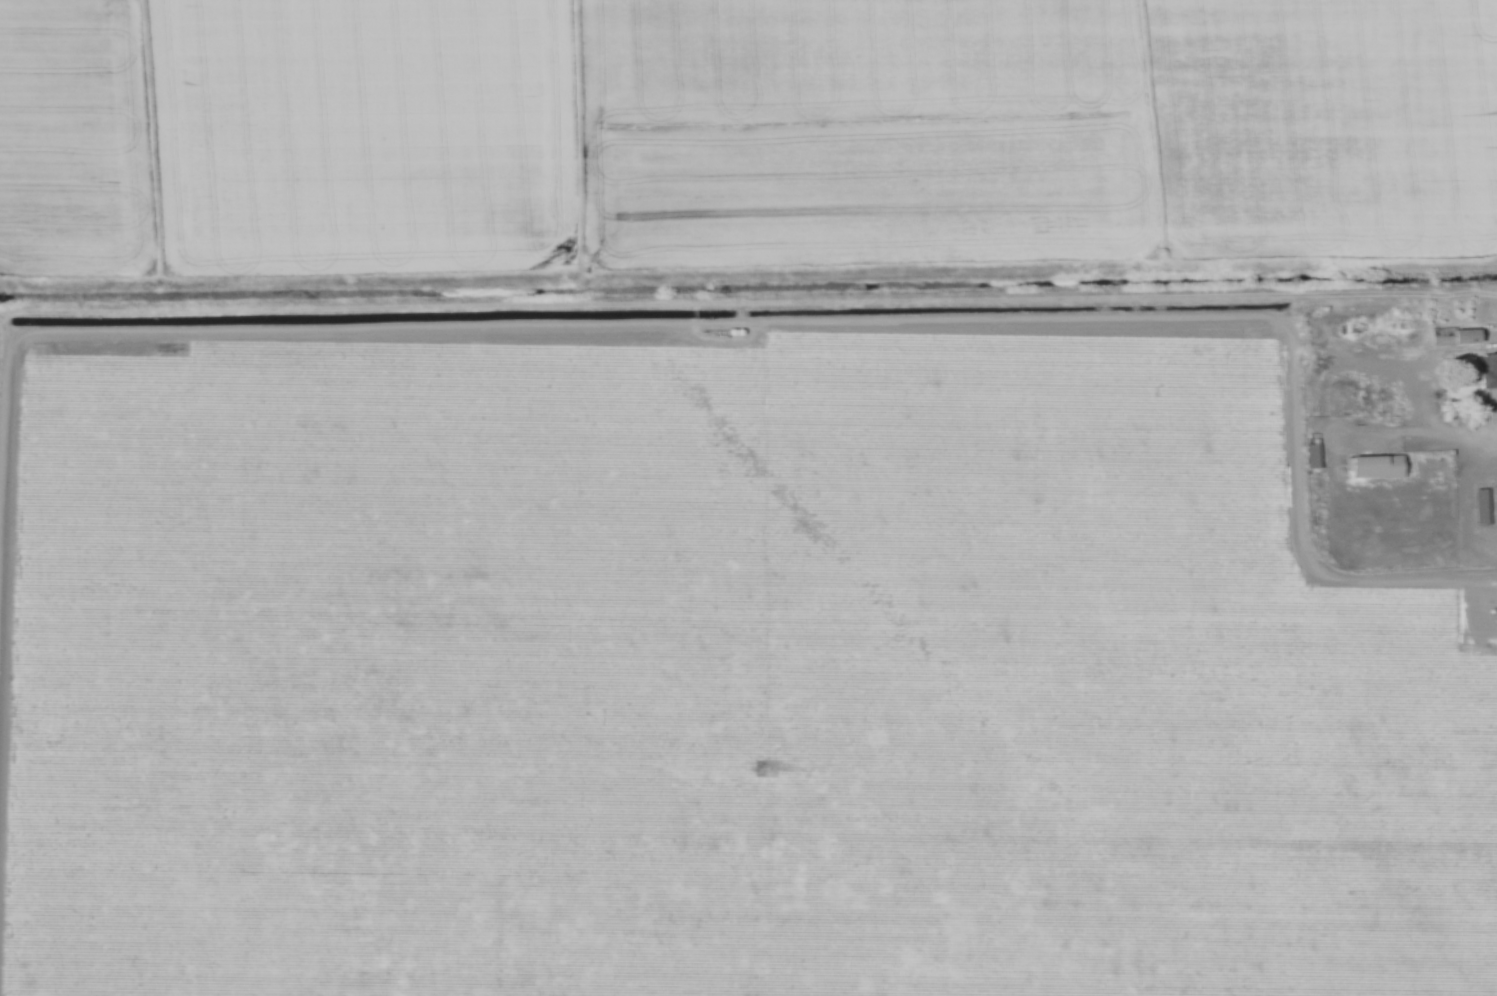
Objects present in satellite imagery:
building: (1490, 373)
building: (1314, 456)
building: (1381, 467)
building: (1483, 506)

